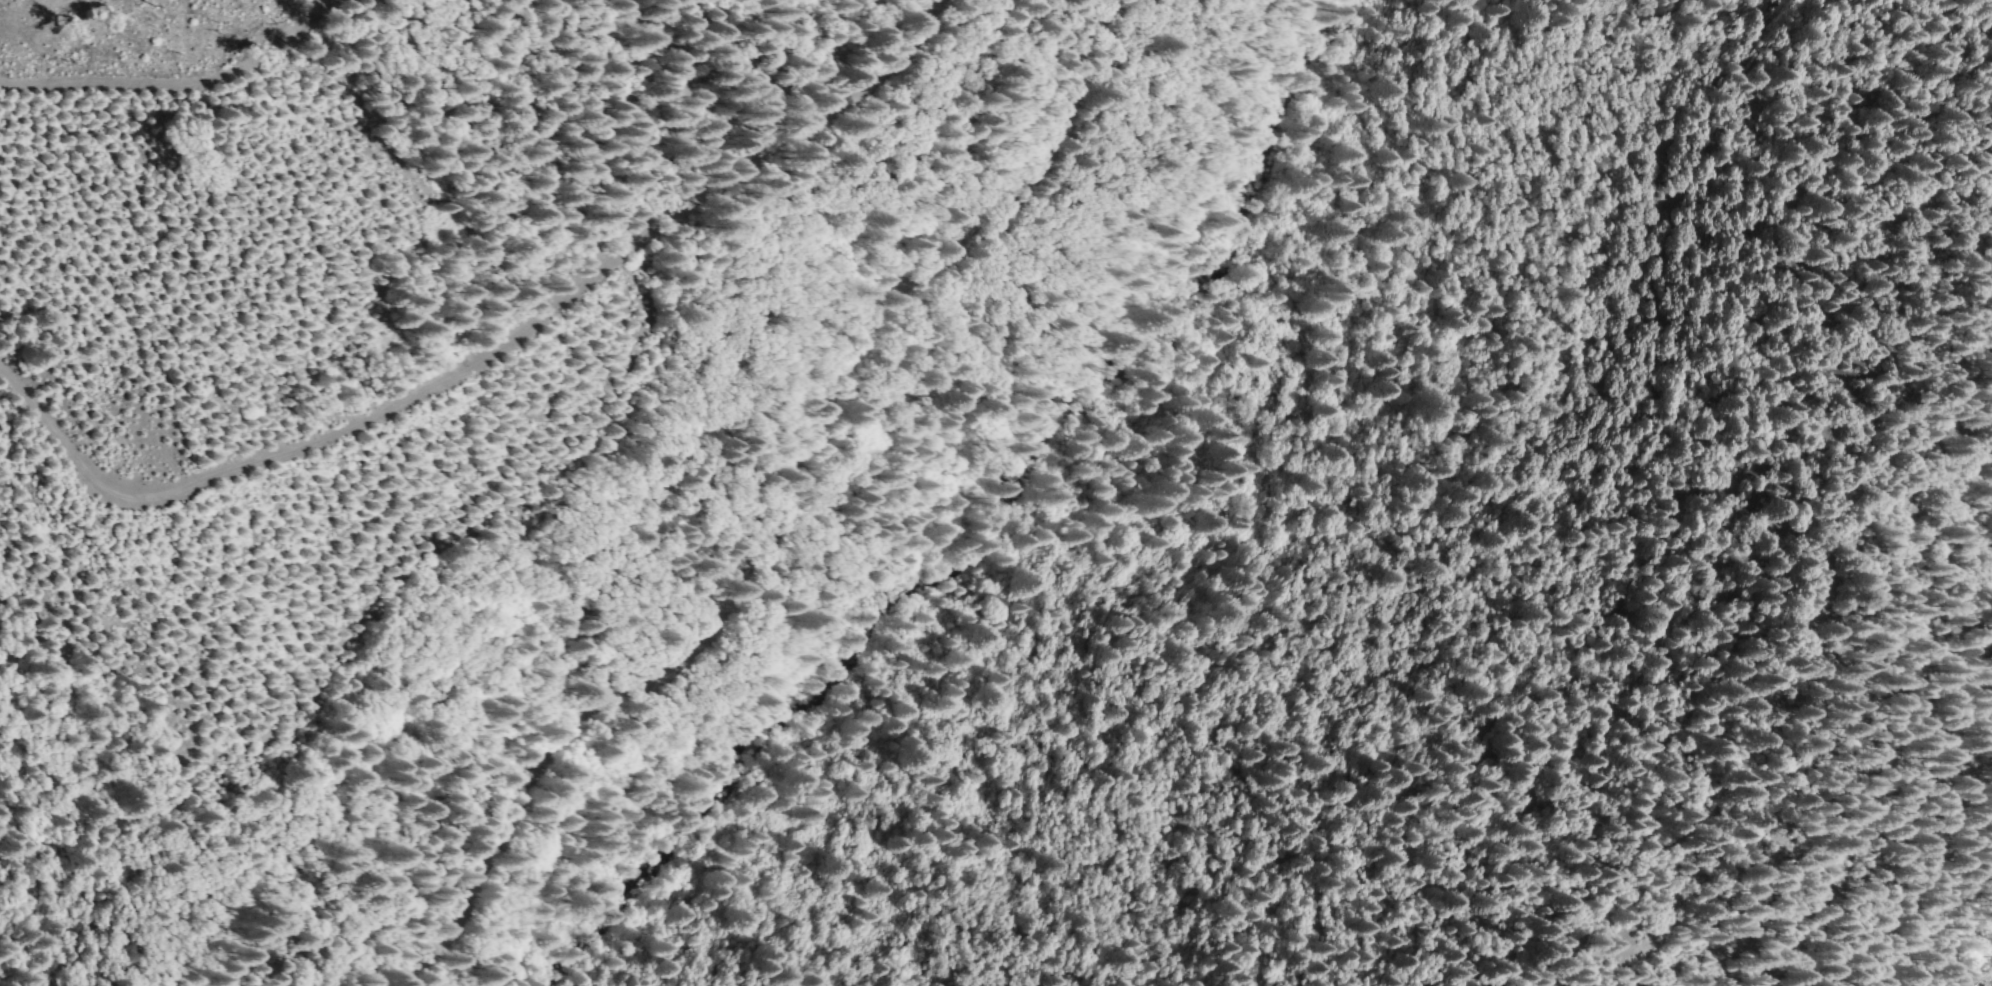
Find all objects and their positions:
road: (747, 504)

